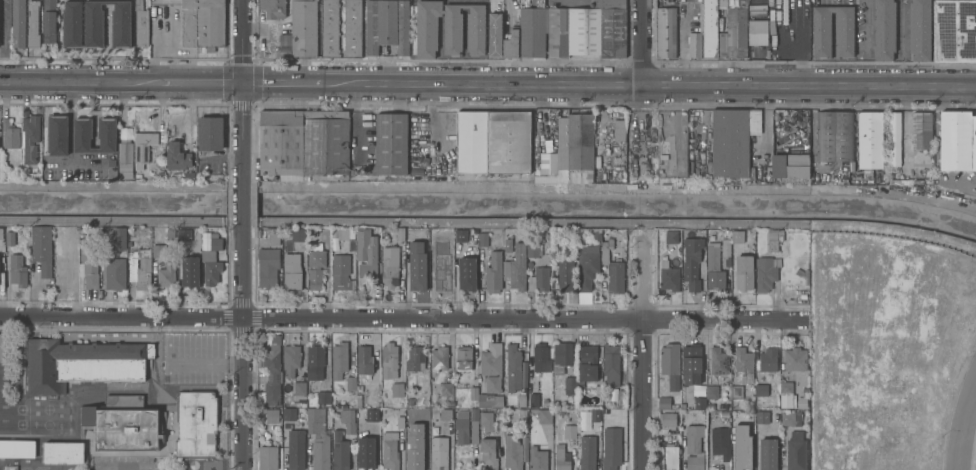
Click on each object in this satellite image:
building: (272, 8)
building: (49, 21)
building: (203, 22)
building: (18, 23)
building: (33, 23)
building: (93, 23)
building: (121, 23)
building: (72, 24)
building: (141, 25)
building: (387, 25)
building: (303, 27)
building: (426, 27)
building: (329, 28)
building: (352, 28)
building: (452, 28)
building: (475, 28)
building: (610, 28)
building: (709, 29)
building: (884, 29)
building: (919, 29)
building: (954, 30)
building: (571, 31)
building: (734, 31)
building: (822, 31)
building: (843, 31)
building: (532, 32)
building: (666, 32)
building: (758, 32)
building: (493, 35)
building: (511, 42)
building: (695, 44)
building: (775, 53)
building: (787, 55)
building: (766, 56)
road: (487, 83)
road: (642, 84)
road: (241, 89)
building: (619, 129)
building: (921, 130)
building: (10, 133)
building: (210, 133)
building: (58, 134)
building: (83, 135)
building: (107, 135)
building: (31, 137)
road: (70, 137)
building: (834, 137)
building: (895, 138)
building: (870, 140)
building: (957, 140)
building: (493, 141)
building: (732, 141)
building: (303, 143)
building: (391, 143)
building: (143, 147)
building: (570, 152)
building: (177, 156)
building: (663, 156)
building: (125, 159)
building: (112, 162)
road: (86, 165)
building: (790, 165)
road: (107, 186)
road: (534, 187)
road: (892, 193)
road: (241, 208)
building: (71, 232)
building: (171, 232)
building: (1, 233)
building: (343, 233)
building: (401, 233)
building: (294, 234)
building: (597, 234)
building: (183, 235)
building: (671, 236)
building: (457, 237)
building: (736, 237)
building: (120, 238)
building: (274, 238)
building: (483, 238)
building: (772, 239)
building: (209, 242)
building: (556, 244)
building: (508, 245)
building: (606, 245)
building: (42, 248)
building: (181, 248)
building: (734, 249)
building: (159, 250)
building: (432, 250)
building: (533, 250)
building: (367, 253)
building: (725, 258)
building: (213, 261)
building: (691, 262)
building: (316, 265)
building: (90, 266)
building: (140, 266)
building: (268, 266)
building: (390, 266)
building: (417, 266)
building: (587, 266)
building: (516, 267)
building: (714, 267)
building: (294, 269)
building: (341, 271)
building: (493, 272)
building: (743, 272)
building: (18, 273)
building: (64, 273)
building: (116, 273)
building: (191, 273)
building: (764, 273)
building: (467, 274)
building: (167, 275)
building: (565, 275)
building: (615, 276)
building: (439, 277)
building: (541, 277)
building: (669, 278)
road: (403, 319)
building: (2, 346)
road: (244, 352)
building: (316, 355)
building: (561, 356)
building: (414, 358)
building: (439, 358)
building: (463, 358)
building: (541, 358)
building: (669, 358)
building: (291, 359)
building: (339, 359)
road: (641, 359)
building: (794, 359)
building: (389, 360)
building: (690, 360)
building: (767, 360)
building: (718, 361)
building: (82, 363)
road: (206, 363)
building: (588, 363)
building: (364, 364)
building: (743, 364)
building: (611, 365)
building: (491, 366)
building: (513, 367)
building: (272, 374)
building: (350, 380)
building: (569, 385)
building: (299, 387)
building: (785, 388)
building: (397, 389)
building: (761, 389)
building: (447, 390)
building: (711, 391)
building: (736, 391)
building: (474, 393)
building: (323, 397)
building: (439, 399)
building: (621, 399)
building: (490, 400)
building: (521, 400)
building: (533, 400)
building: (663, 402)
building: (693, 402)
building: (366, 403)
building: (710, 405)
building: (288, 414)
building: (372, 414)
building: (445, 414)
building: (699, 414)
building: (724, 414)
building: (272, 415)
building: (301, 415)
building: (545, 416)
building: (594, 416)
building: (761, 417)
building: (789, 417)
building: (667, 419)
building: (348, 420)
building: (486, 420)
building: (735, 420)
building: (583, 421)
building: (400, 422)
road: (962, 422)
building: (123, 423)
building: (196, 424)
building: (474, 425)
building: (462, 430)
building: (522, 432)
building: (570, 432)
building: (318, 439)
building: (720, 442)
building: (694, 447)
building: (17, 448)
building: (611, 448)
building: (295, 449)
building: (389, 450)
building: (339, 451)
building: (796, 451)
building: (64, 452)
building: (365, 452)
building: (514, 452)
building: (439, 453)
building: (488, 453)
building: (587, 453)
building: (414, 454)
building: (767, 454)
building: (670, 456)
building: (267, 457)
building: (561, 457)
building: (746, 458)
building: (537, 459)
building: (10, 467)
road: (125, 469)

